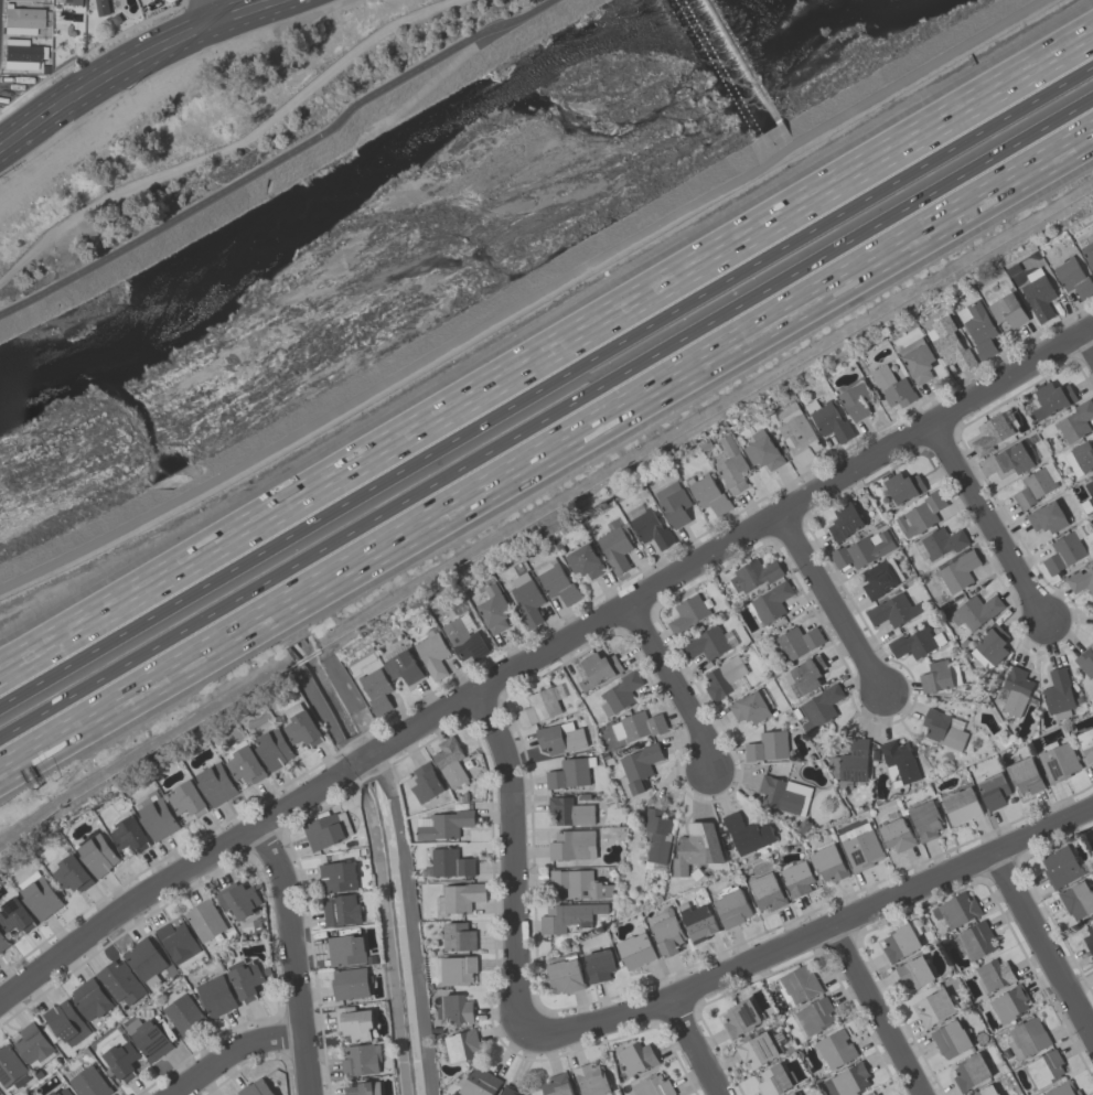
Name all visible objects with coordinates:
building: (26, 0)
building: (69, 1)
building: (101, 7)
road: (208, 17)
building: (20, 21)
building: (20, 55)
road: (116, 56)
road: (146, 65)
road: (229, 148)
road: (281, 161)
river: (398, 218)
building: (1087, 254)
building: (1073, 277)
building: (1038, 293)
road: (525, 301)
building: (1007, 308)
building: (977, 328)
road: (1086, 341)
building: (949, 343)
road: (546, 355)
building: (917, 359)
building: (891, 386)
road: (546, 391)
building: (1051, 398)
building: (855, 400)
road: (546, 418)
building: (828, 419)
building: (1074, 420)
building: (990, 433)
building: (797, 434)
building: (762, 450)
building: (1012, 458)
building: (1080, 458)
road: (548, 459)
building: (730, 464)
building: (1036, 484)
building: (903, 485)
building: (707, 494)
building: (1087, 496)
building: (674, 502)
building: (920, 514)
building: (1047, 516)
building: (844, 520)
building: (649, 525)
road: (990, 526)
building: (940, 541)
road: (726, 543)
building: (614, 547)
building: (862, 549)
building: (1064, 550)
building: (585, 561)
building: (957, 572)
building: (754, 573)
building: (881, 578)
building: (1081, 580)
building: (556, 581)
building: (526, 598)
building: (769, 603)
road: (831, 603)
building: (493, 609)
building: (893, 610)
building: (975, 610)
building: (686, 614)
building: (1092, 624)
building: (464, 640)
building: (797, 641)
building: (915, 642)
building: (706, 643)
building: (989, 646)
building: (432, 653)
building: (1085, 662)
building: (403, 666)
building: (598, 668)
building: (807, 673)
building: (722, 676)
building: (940, 676)
road: (671, 687)
building: (376, 689)
building: (1016, 690)
building: (620, 693)
building: (1058, 694)
building: (540, 705)
building: (749, 707)
building: (819, 707)
building: (633, 728)
building: (302, 729)
building: (943, 729)
building: (559, 737)
building: (1085, 744)
building: (767, 745)
building: (272, 748)
building: (853, 760)
building: (1057, 760)
building: (449, 761)
building: (898, 761)
building: (244, 764)
building: (637, 767)
building: (568, 773)
building: (1024, 775)
building: (425, 782)
building: (215, 783)
building: (993, 791)
building: (784, 794)
building: (186, 799)
building: (961, 805)
building: (569, 810)
building: (156, 816)
building: (924, 818)
building: (442, 824)
building: (325, 829)
building: (746, 833)
building: (128, 834)
building: (655, 835)
building: (896, 835)
building: (571, 844)
building: (696, 847)
building: (860, 848)
building: (97, 855)
road: (511, 859)
building: (448, 862)
building: (827, 862)
building: (1060, 866)
building: (71, 873)
building: (337, 876)
road: (169, 878)
building: (796, 878)
building: (579, 883)
building: (765, 891)
building: (39, 894)
building: (458, 898)
building: (238, 899)
building: (1076, 899)
building: (731, 908)
building: (957, 909)
building: (341, 910)
building: (14, 915)
building: (568, 915)
building: (204, 921)
building: (697, 921)
building: (666, 933)
road: (810, 934)
building: (458, 936)
building: (1089, 938)
building: (176, 940)
building: (976, 940)
building: (3, 942)
building: (899, 942)
road: (1040, 945)
building: (635, 948)
building: (345, 949)
road: (291, 957)
building: (144, 960)
building: (598, 965)
building: (454, 969)
building: (913, 971)
building: (565, 975)
building: (994, 975)
building: (245, 980)
building: (119, 981)
building: (350, 983)
building: (799, 984)
building: (215, 996)
building: (89, 998)
building: (1009, 1003)
building: (934, 1007)
building: (454, 1008)
road: (875, 1010)
building: (183, 1015)
building: (813, 1016)
building: (739, 1017)
building: (65, 1022)
building: (354, 1022)
building: (1029, 1035)
building: (148, 1038)
building: (950, 1038)
building: (462, 1044)
building: (33, 1045)
road: (694, 1048)
road: (232, 1049)
building: (835, 1049)
building: (756, 1050)
building: (637, 1056)
building: (121, 1060)
building: (360, 1060)
building: (11, 1067)
building: (1043, 1069)
building: (969, 1072)
building: (591, 1080)
building: (773, 1080)
building: (847, 1080)
building: (88, 1082)
building: (479, 1082)
building: (557, 1084)
building: (651, 1086)
building: (256, 1087)
building: (363, 1087)
building: (1063, 1088)
building: (510, 1089)
building: (986, 1091)
building: (62, 1092)
building: (792, 1094)
building: (796, 1094)
building: (875, 1094)
building: (877, 1094)

